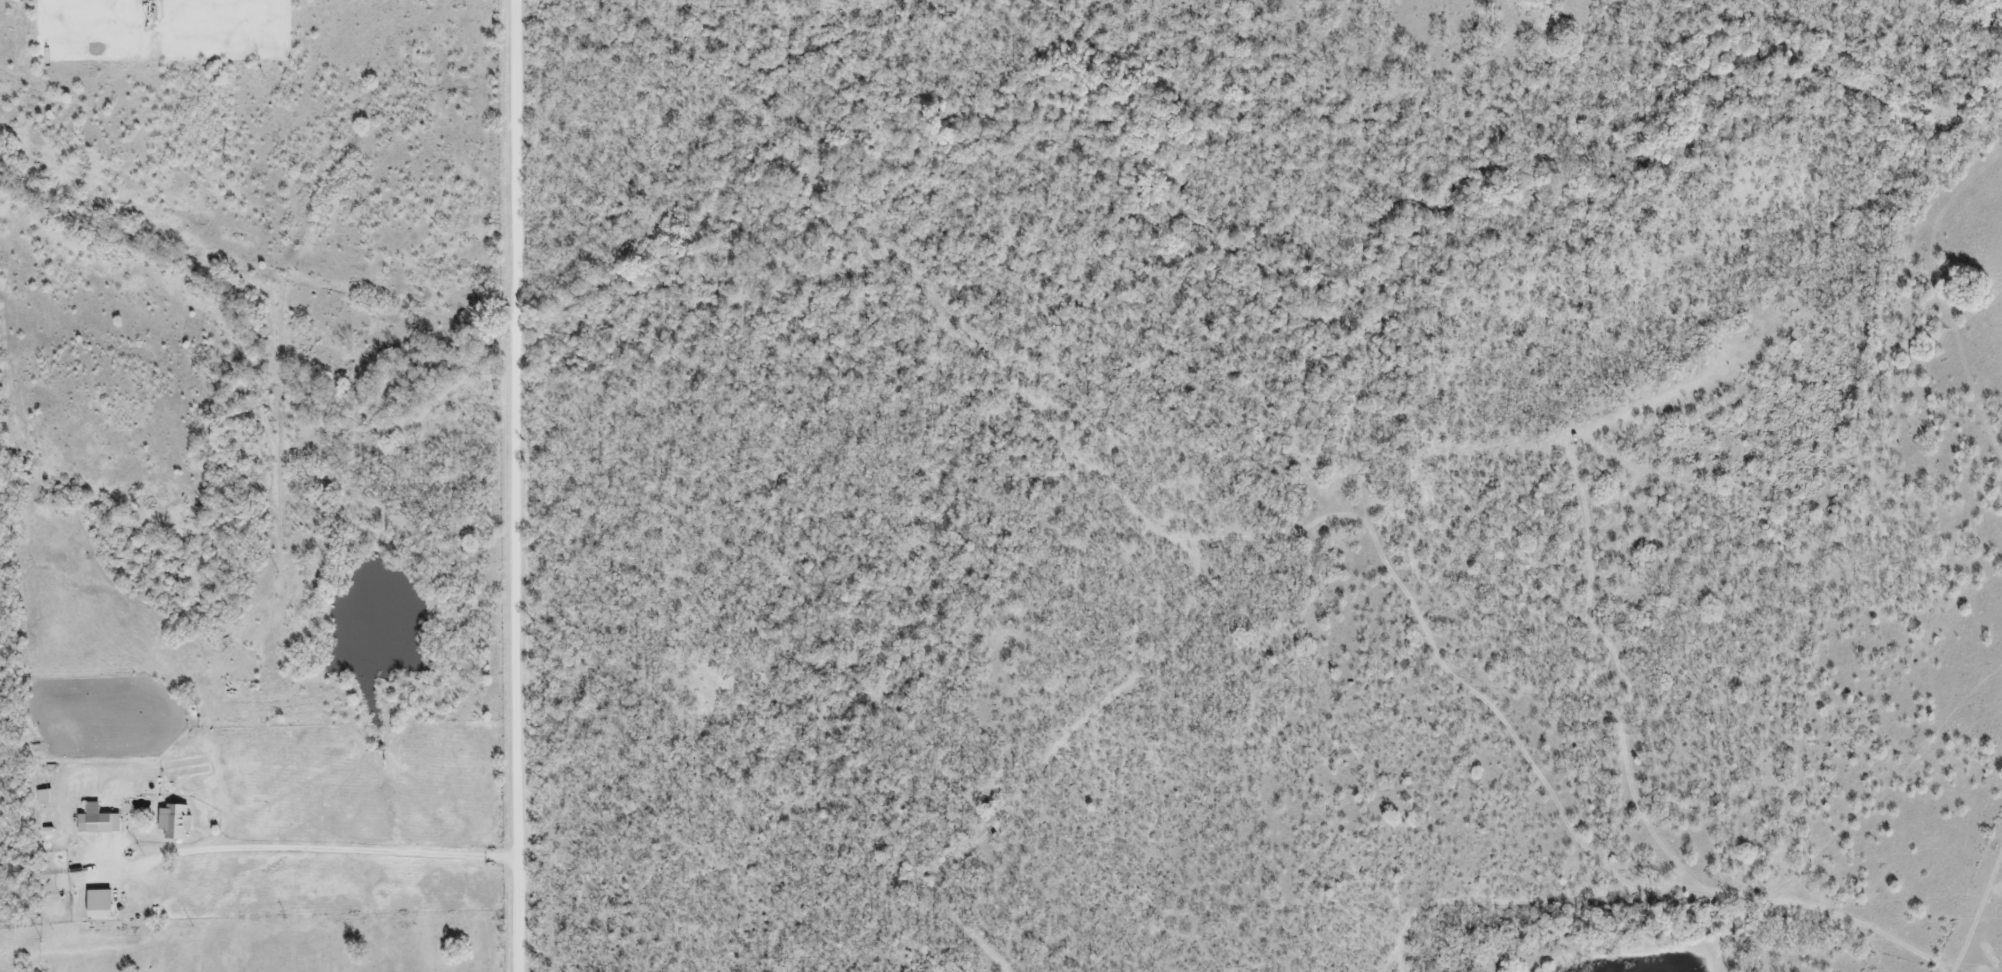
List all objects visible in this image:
road: (90, 21)
road: (518, 485)
building: (171, 823)
building: (95, 824)
road: (309, 842)

